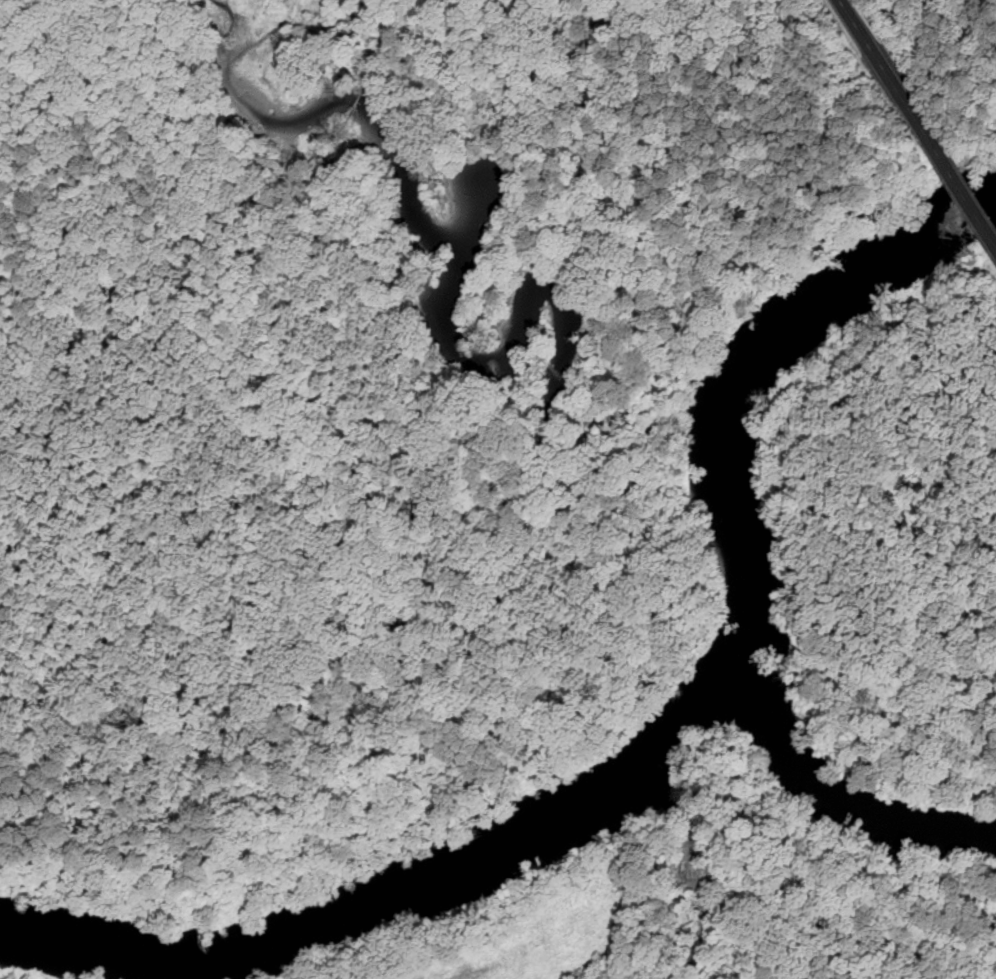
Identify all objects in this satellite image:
road: (888, 74)
road: (966, 195)
river: (663, 759)

